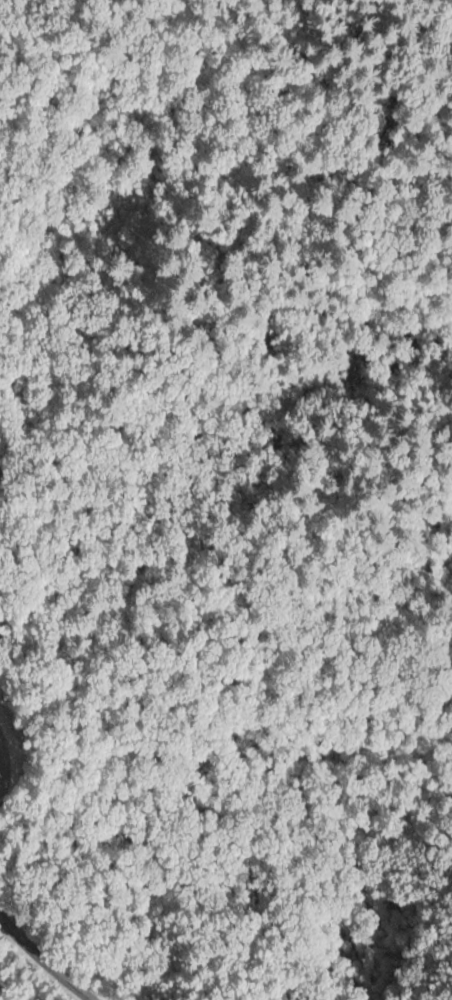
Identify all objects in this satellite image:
road: (2, 768)
road: (43, 961)

